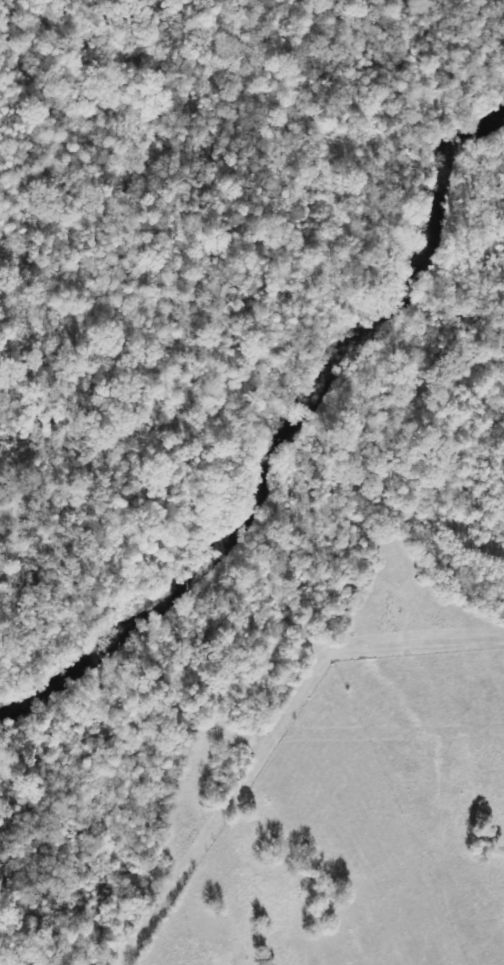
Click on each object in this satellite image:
road: (269, 734)

